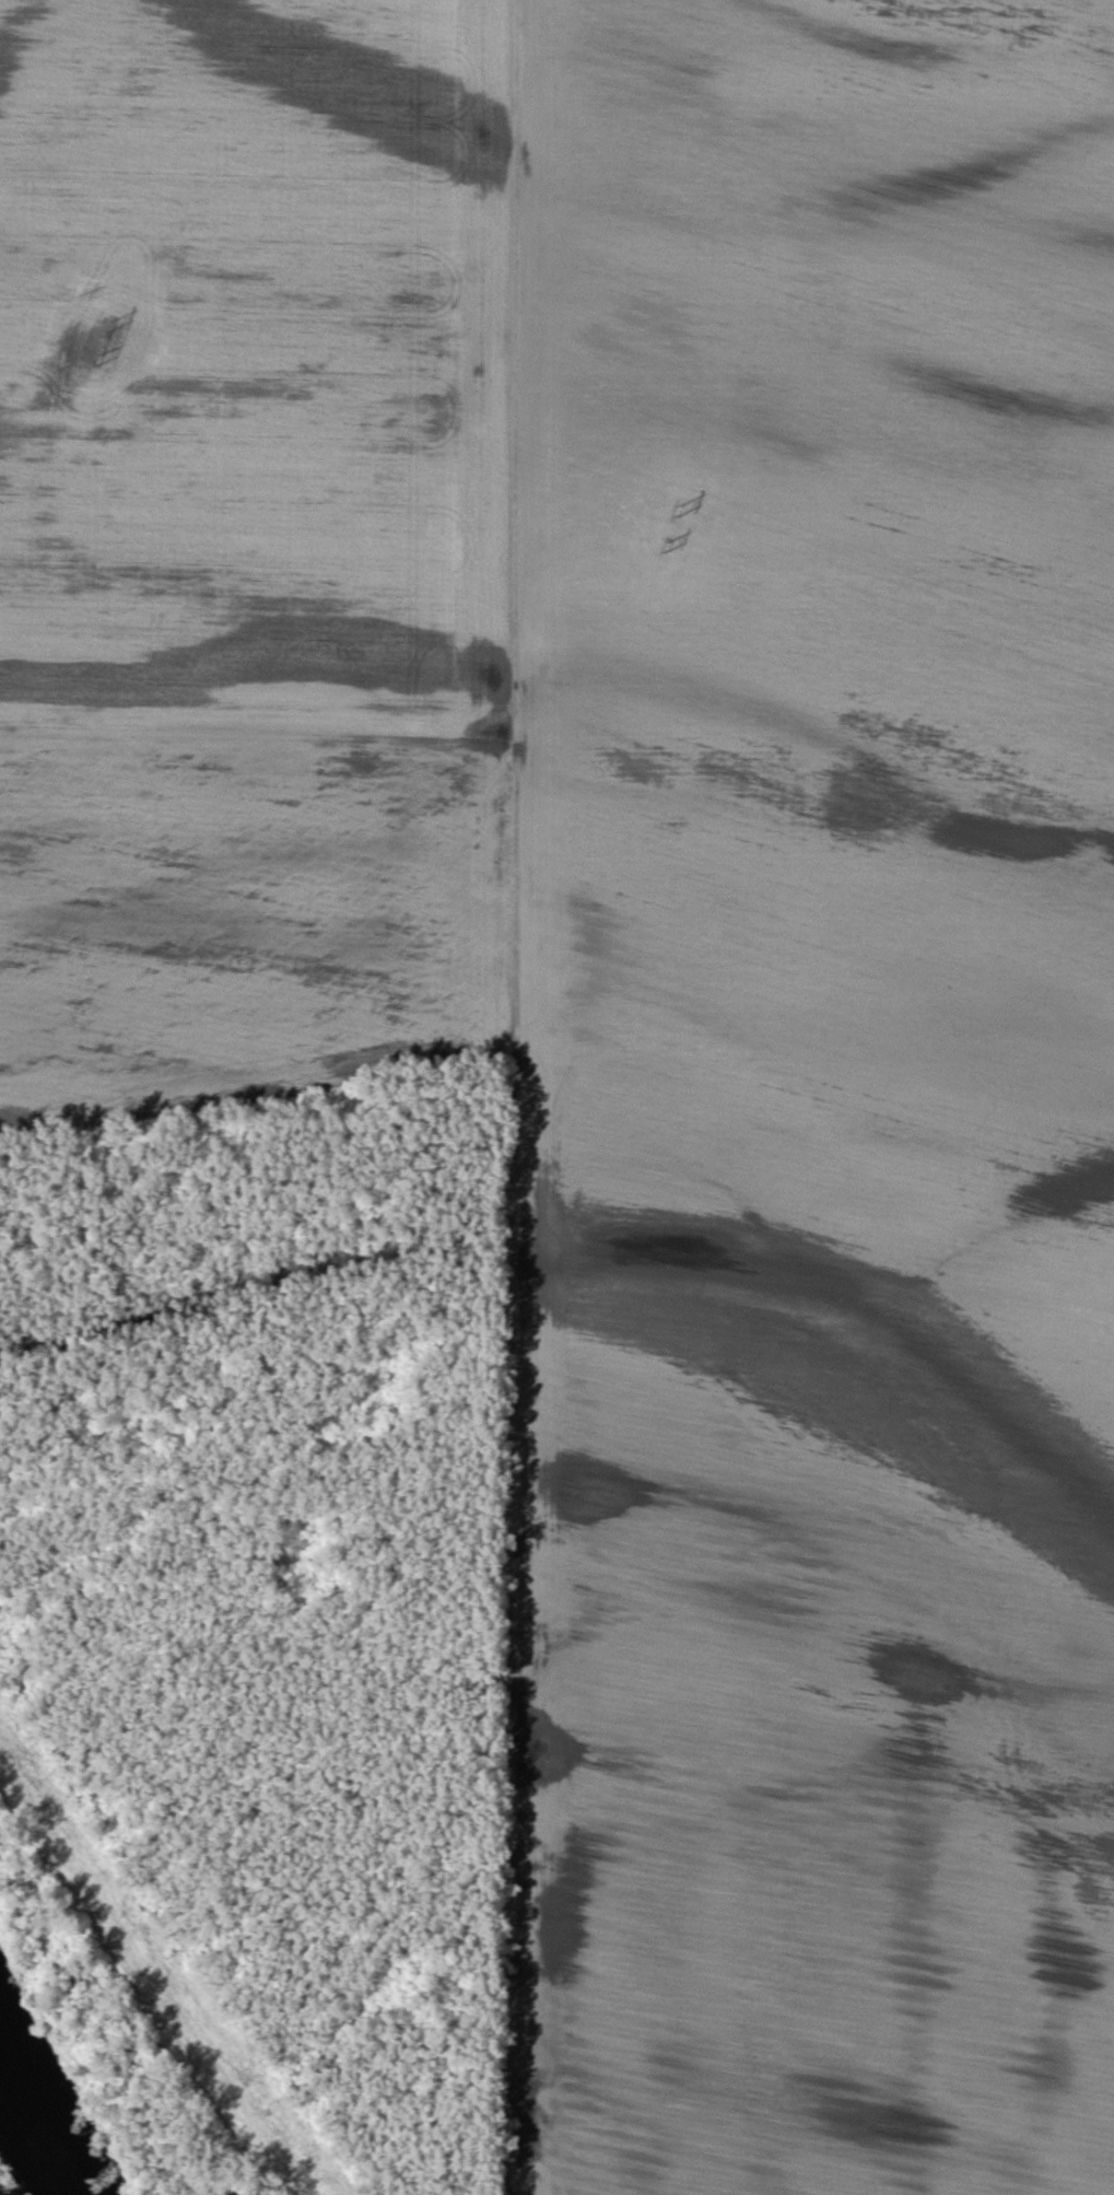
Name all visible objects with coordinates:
power tower: (112, 325)
power tower: (679, 513)
crop: (249, 551)
road: (514, 1097)

